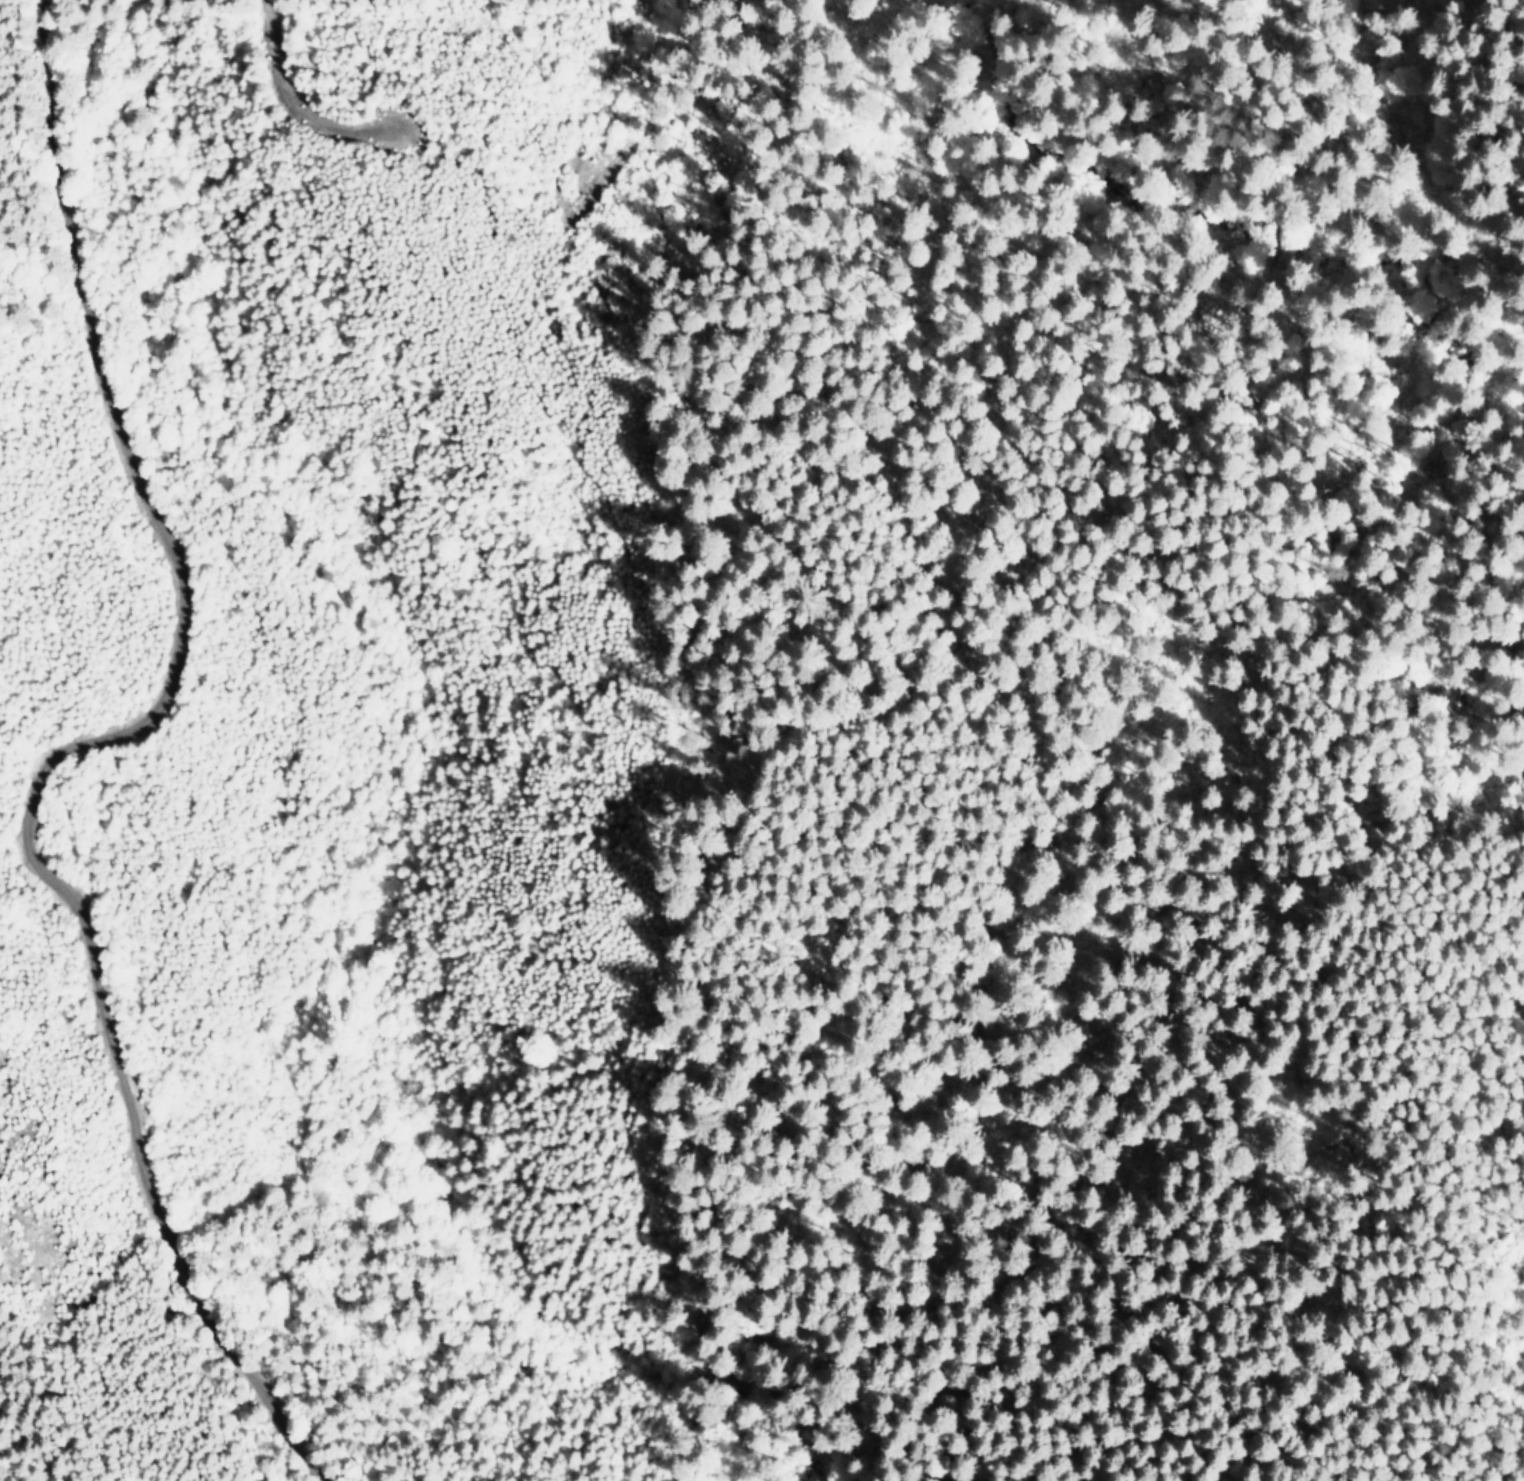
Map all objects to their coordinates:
road: (297, 104)
road: (80, 752)

